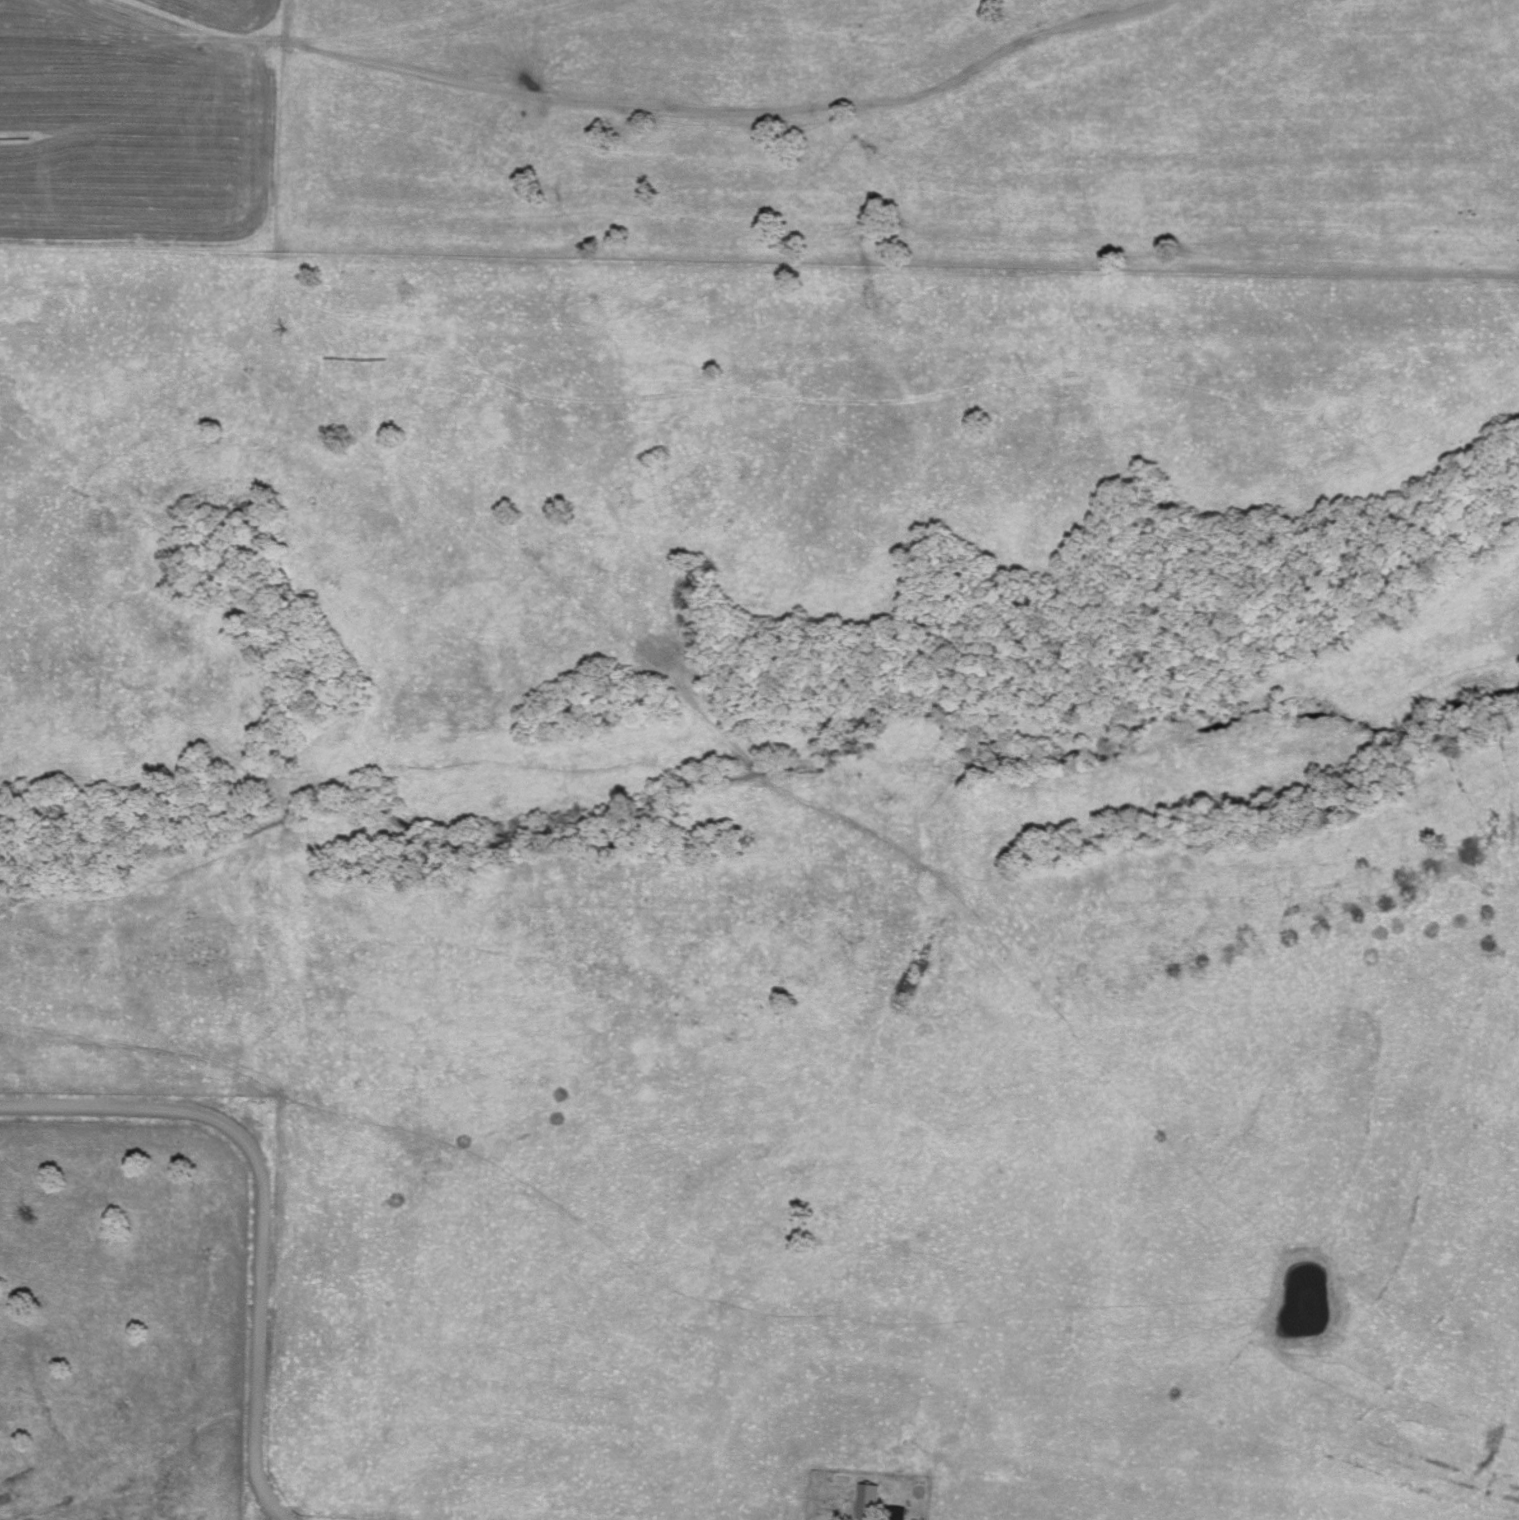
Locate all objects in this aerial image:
road: (233, 1245)
building: (895, 1514)

